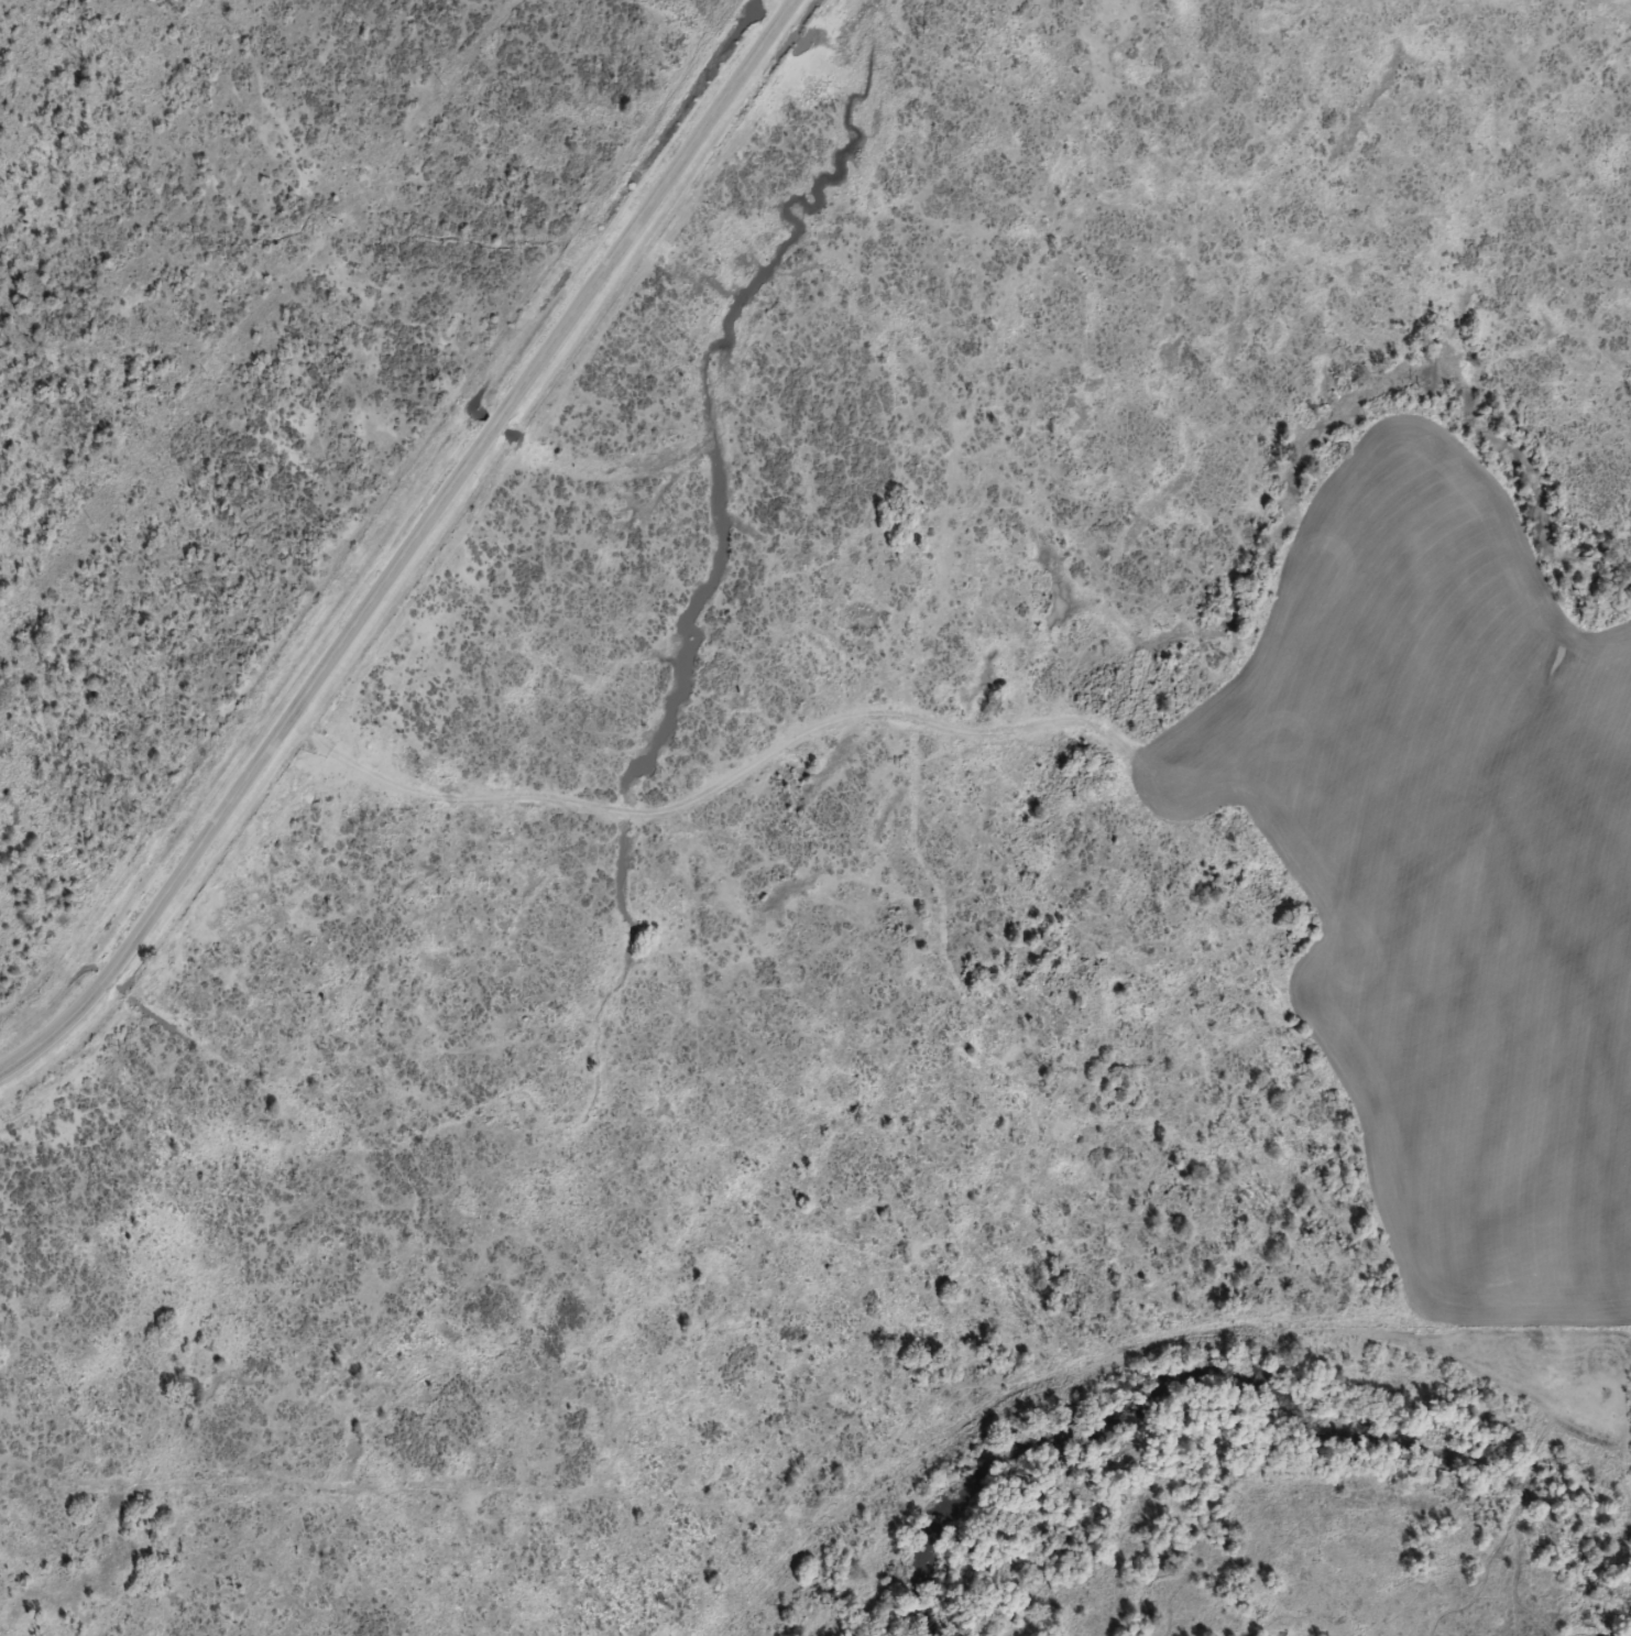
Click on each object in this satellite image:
road: (411, 549)
road: (1057, 1361)

